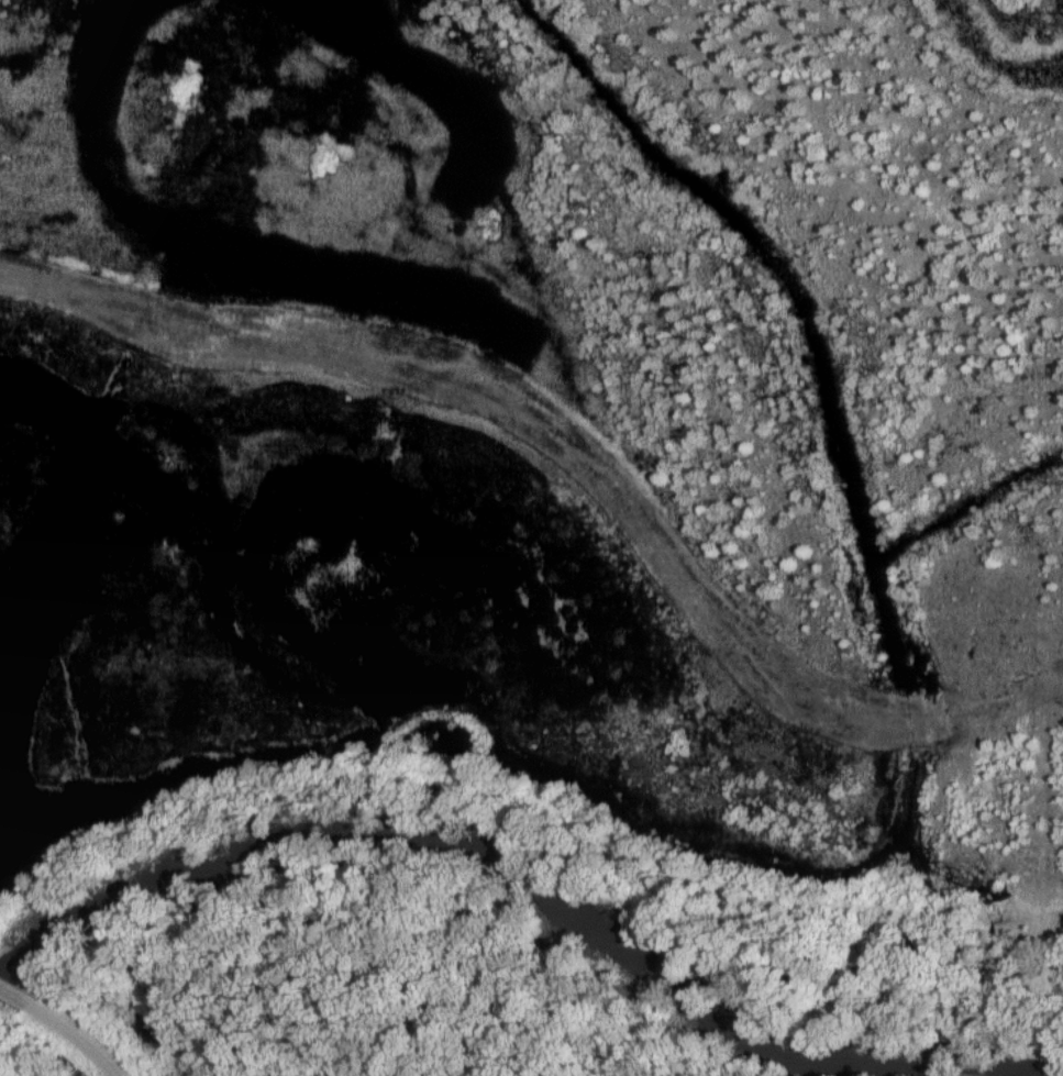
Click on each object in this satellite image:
road: (19, 998)
road: (82, 1038)

